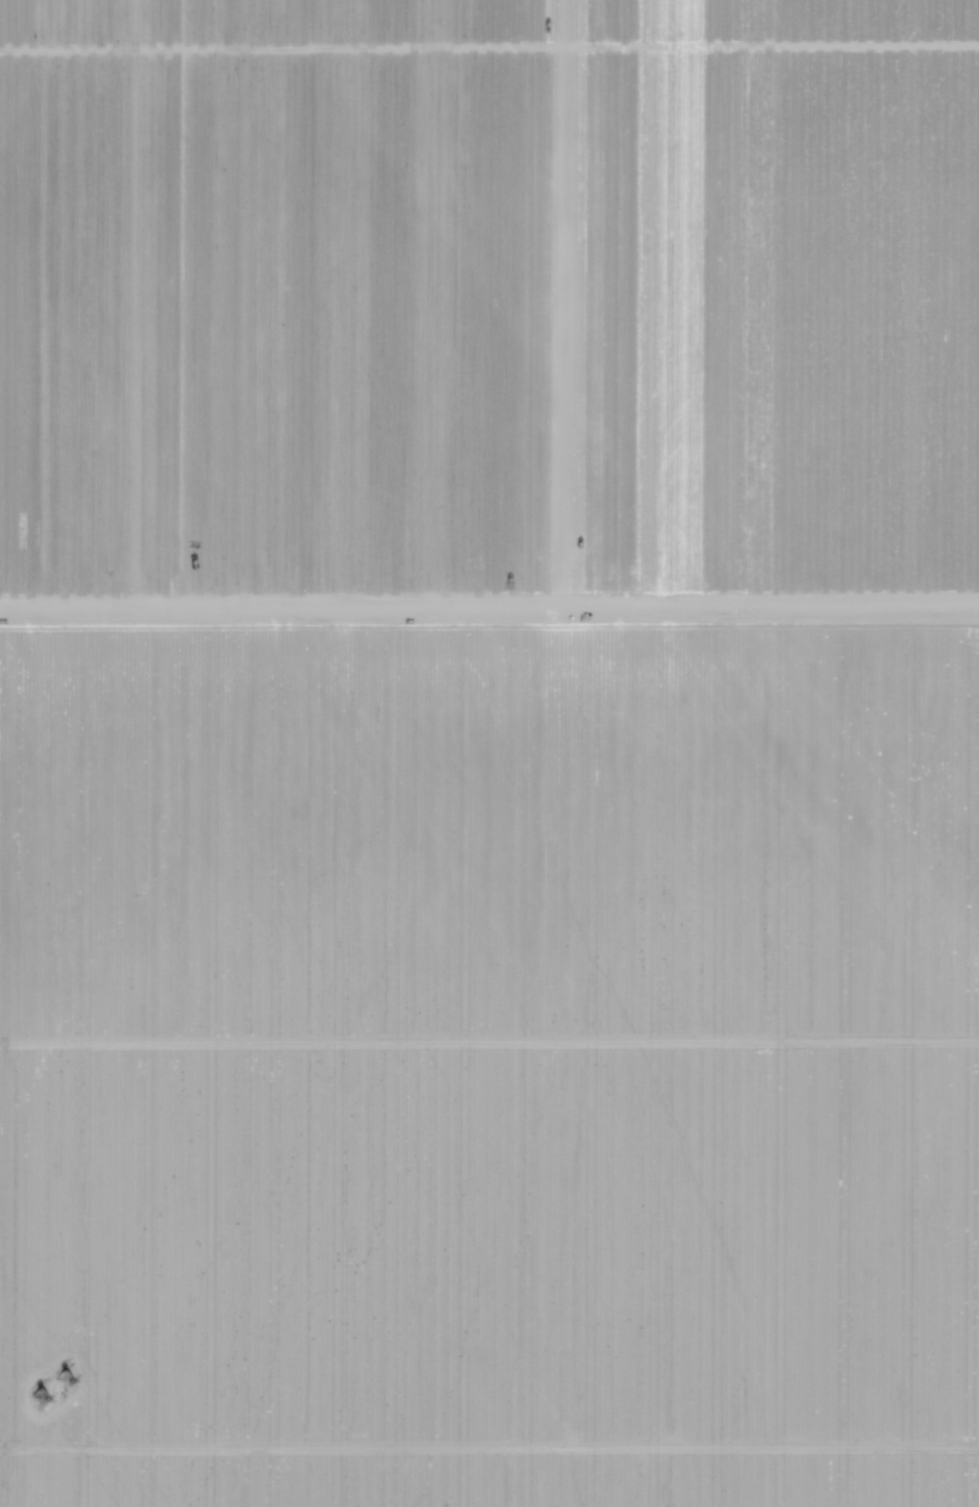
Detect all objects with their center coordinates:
crop: (489, 753)
power tower: (52, 1388)

